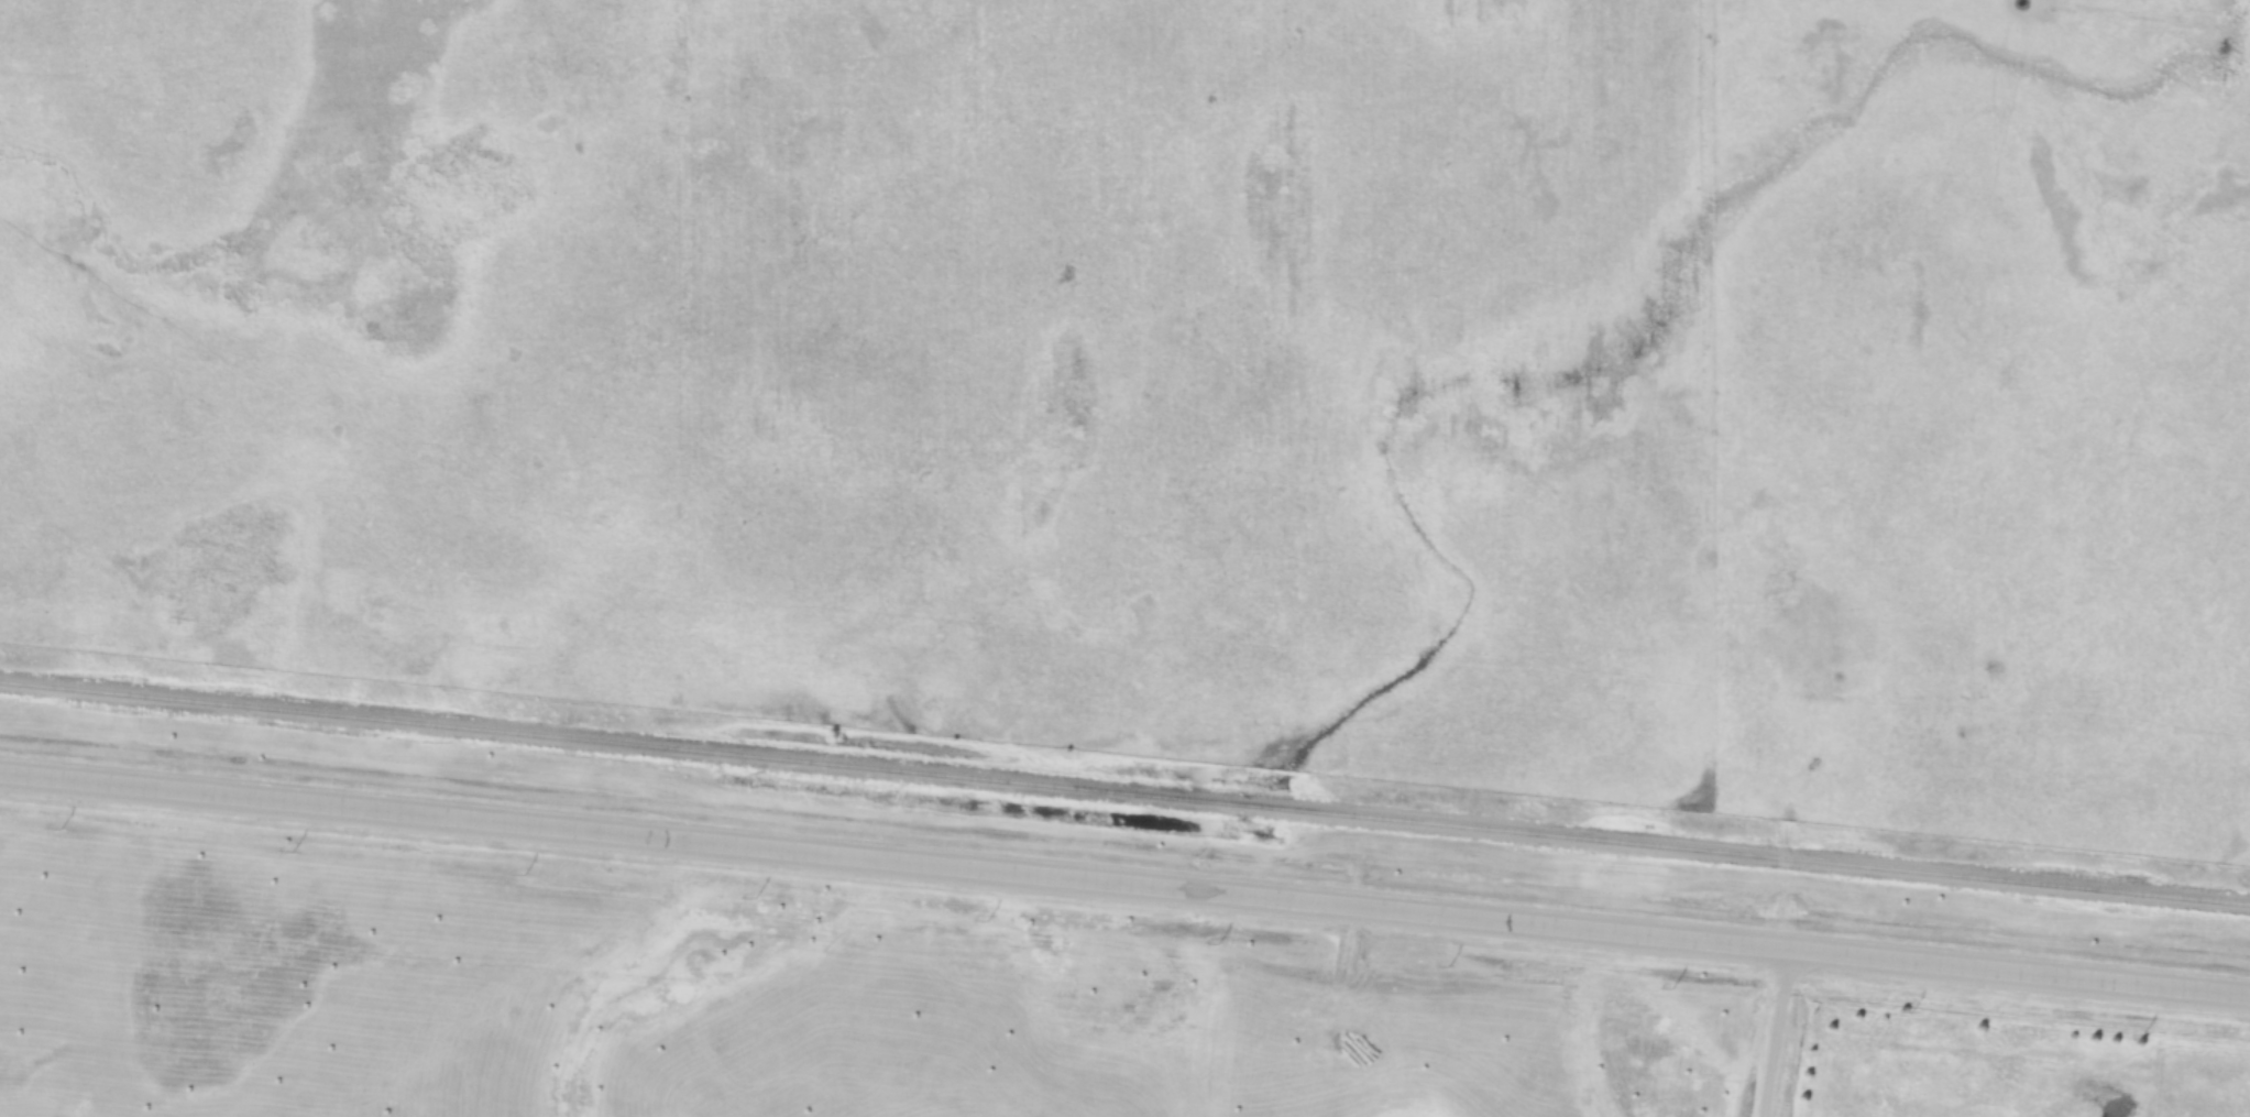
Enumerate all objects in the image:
railway: (1124, 791)
road: (1124, 880)
road: (1774, 1031)

